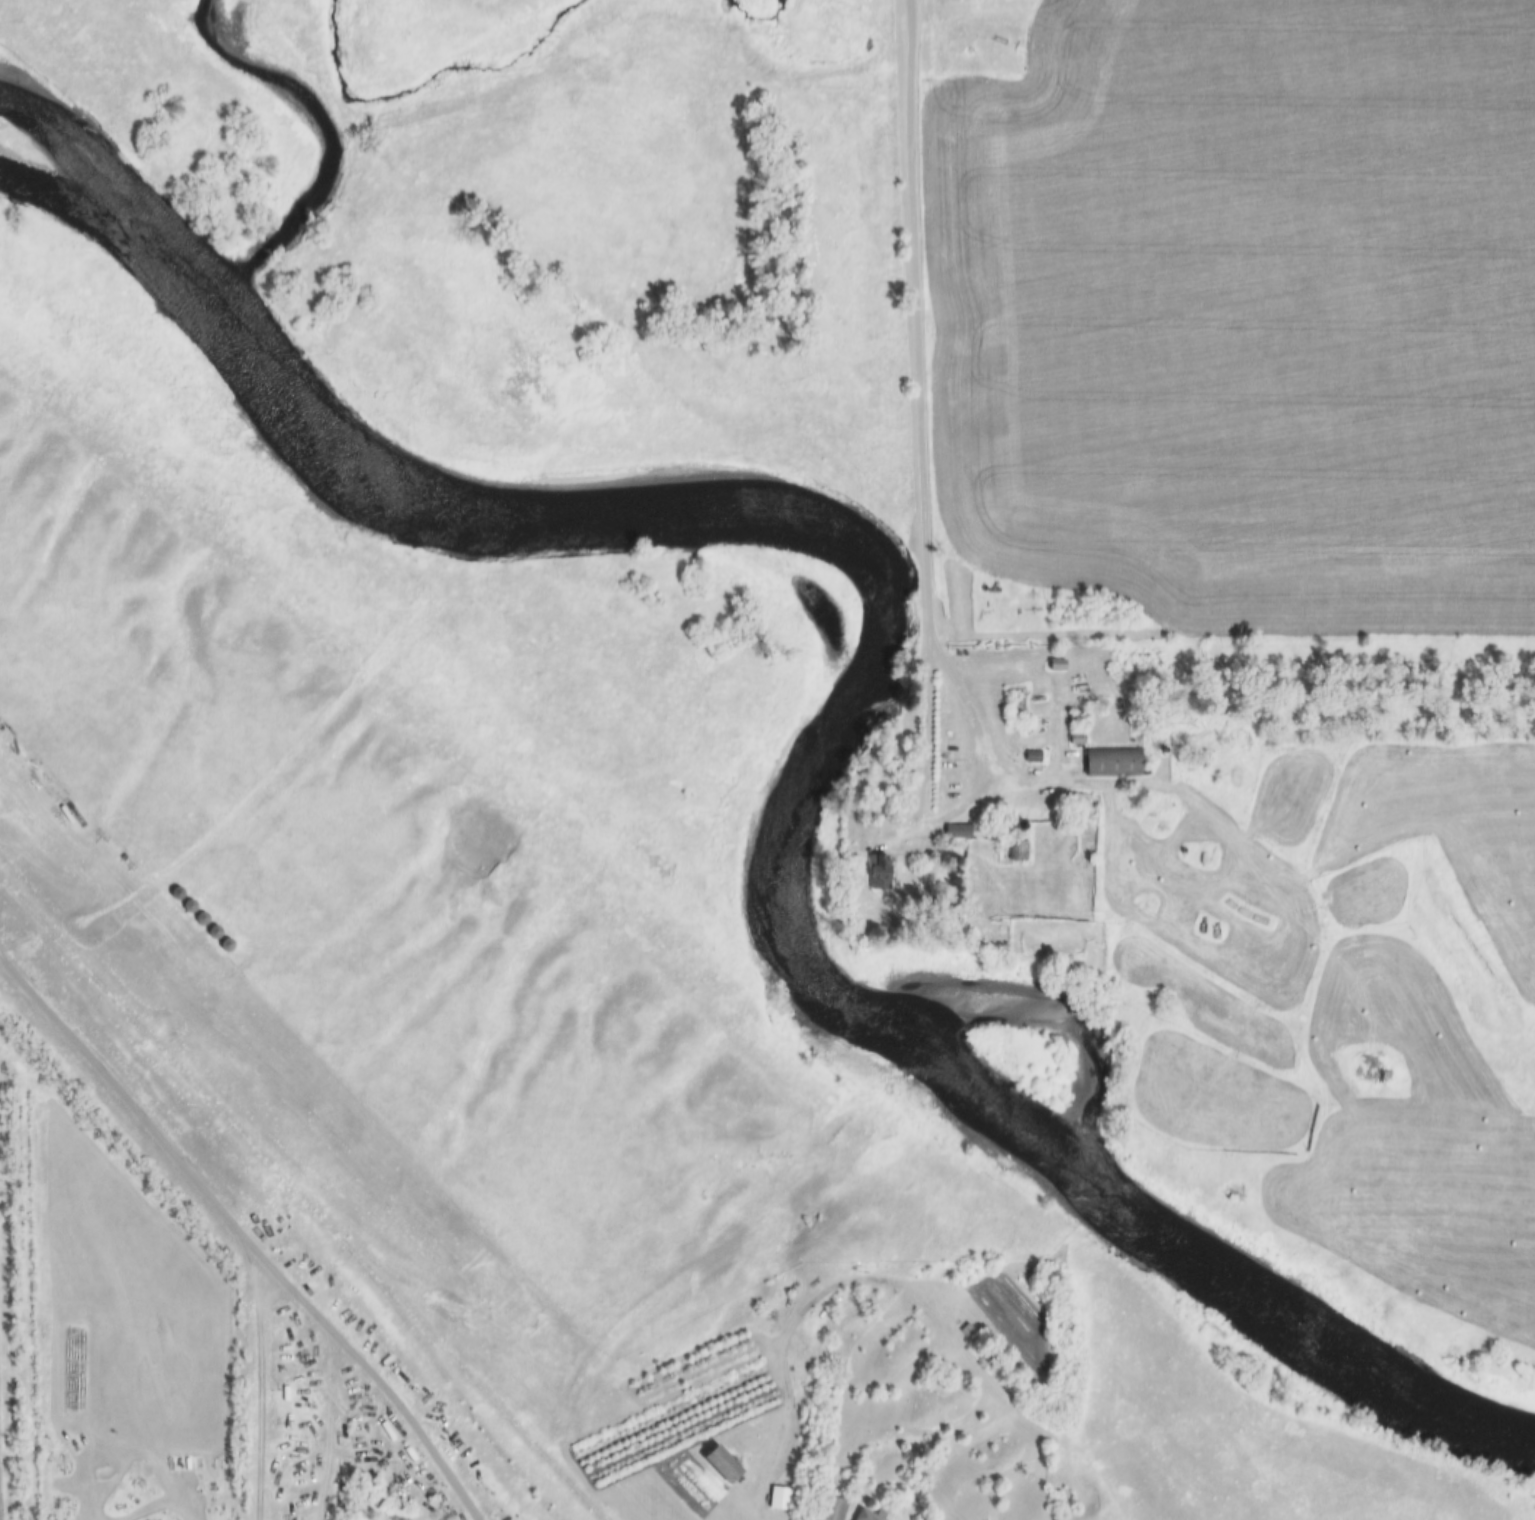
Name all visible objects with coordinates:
road: (916, 315)
building: (1058, 665)
river: (863, 673)
building: (1078, 721)
building: (1078, 740)
building: (1033, 757)
building: (1115, 763)
road: (945, 813)
building: (1020, 825)
silo: (1020, 825)
building: (960, 832)
building: (1018, 850)
building: (881, 873)
building: (177, 895)
silo: (177, 895)
building: (189, 908)
silo: (189, 908)
building: (201, 920)
silo: (201, 920)
building: (214, 934)
silo: (214, 934)
building: (226, 947)
silo: (226, 947)
railway: (307, 1196)
road: (245, 1242)
building: (967, 1332)
road: (251, 1383)
building: (312, 1396)
building: (725, 1466)
building: (781, 1499)
building: (836, 1508)
building: (875, 1515)
building: (392, 1517)

